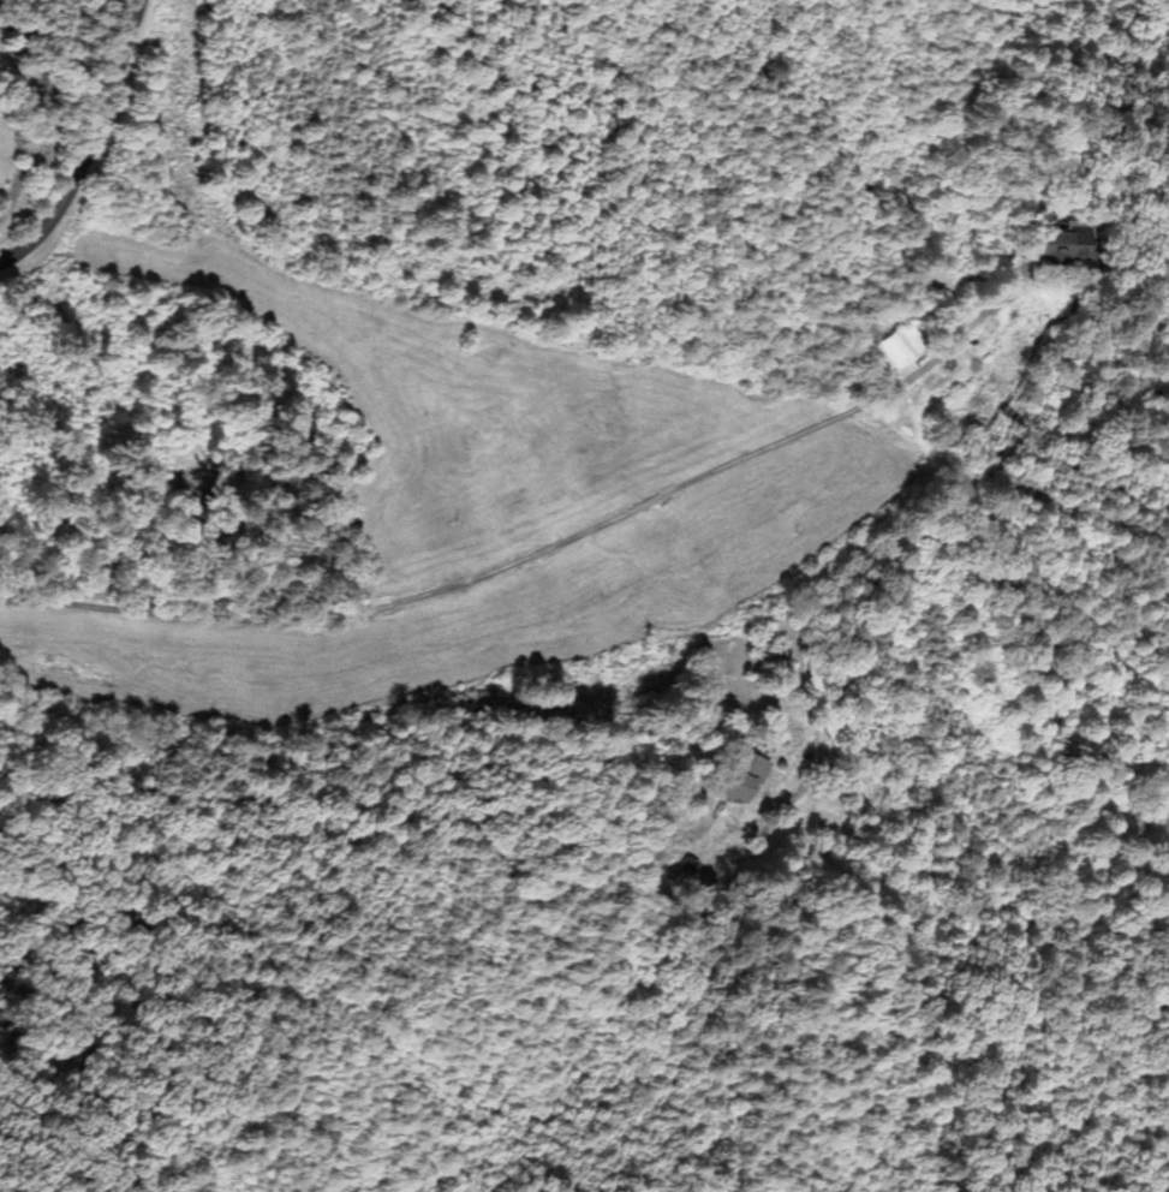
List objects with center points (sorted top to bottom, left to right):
road: (82, 137)
road: (507, 566)
building: (751, 781)

